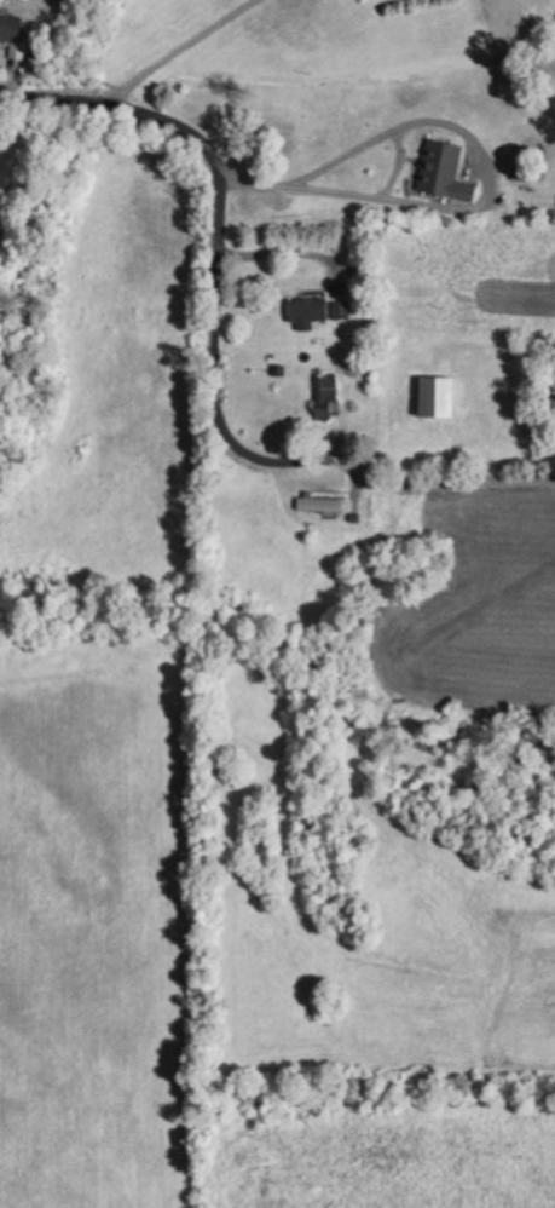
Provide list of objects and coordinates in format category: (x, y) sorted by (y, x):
building: (13, 34)
building: (446, 172)
road: (216, 259)
building: (311, 312)
building: (330, 397)
building: (440, 398)
building: (320, 505)

